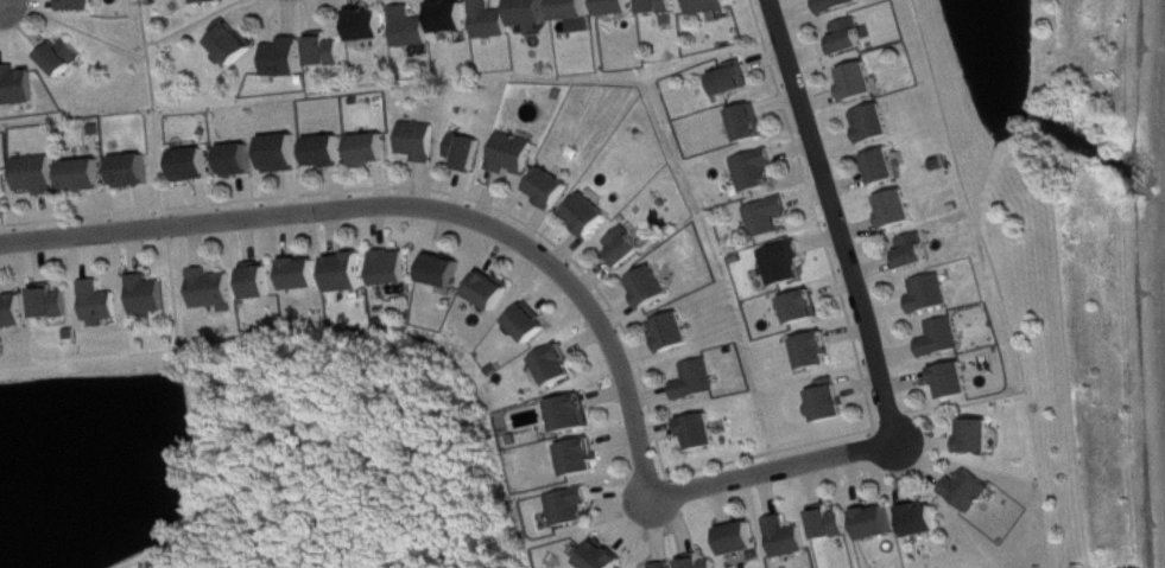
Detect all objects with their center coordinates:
building: (210, 1)
building: (838, 5)
building: (86, 6)
building: (710, 6)
building: (620, 7)
building: (661, 7)
building: (534, 13)
building: (578, 14)
building: (454, 18)
building: (493, 21)
building: (372, 26)
building: (413, 28)
building: (851, 38)
building: (235, 45)
building: (329, 52)
building: (65, 57)
building: (287, 59)
building: (736, 79)
building: (862, 82)
building: (20, 87)
building: (751, 125)
building: (876, 125)
building: (422, 142)
building: (374, 149)
building: (330, 153)
building: (469, 153)
building: (286, 154)
building: (514, 154)
building: (242, 161)
building: (197, 166)
building: (887, 168)
building: (758, 171)
building: (137, 172)
building: (40, 175)
building: (88, 177)
building: (5, 186)
building: (553, 190)
road: (412, 205)
building: (901, 210)
building: (591, 216)
building: (771, 217)
road: (831, 218)
building: (627, 249)
building: (917, 253)
building: (786, 264)
building: (395, 269)
building: (447, 272)
building: (350, 274)
building: (306, 275)
building: (262, 282)
building: (653, 288)
building: (216, 292)
building: (493, 292)
building: (933, 295)
building: (152, 296)
building: (55, 305)
building: (103, 305)
building: (805, 308)
building: (13, 311)
building: (531, 325)
building: (676, 333)
building: (945, 339)
building: (817, 352)
building: (559, 366)
building: (699, 382)
building: (957, 382)
building: (830, 403)
building: (574, 415)
building: (704, 433)
building: (980, 436)
building: (583, 459)
road: (777, 466)
building: (970, 492)
building: (570, 509)
building: (924, 522)
building: (832, 524)
building: (879, 524)
building: (789, 538)
building: (742, 540)
building: (606, 557)
building: (704, 563)
building: (665, 566)

